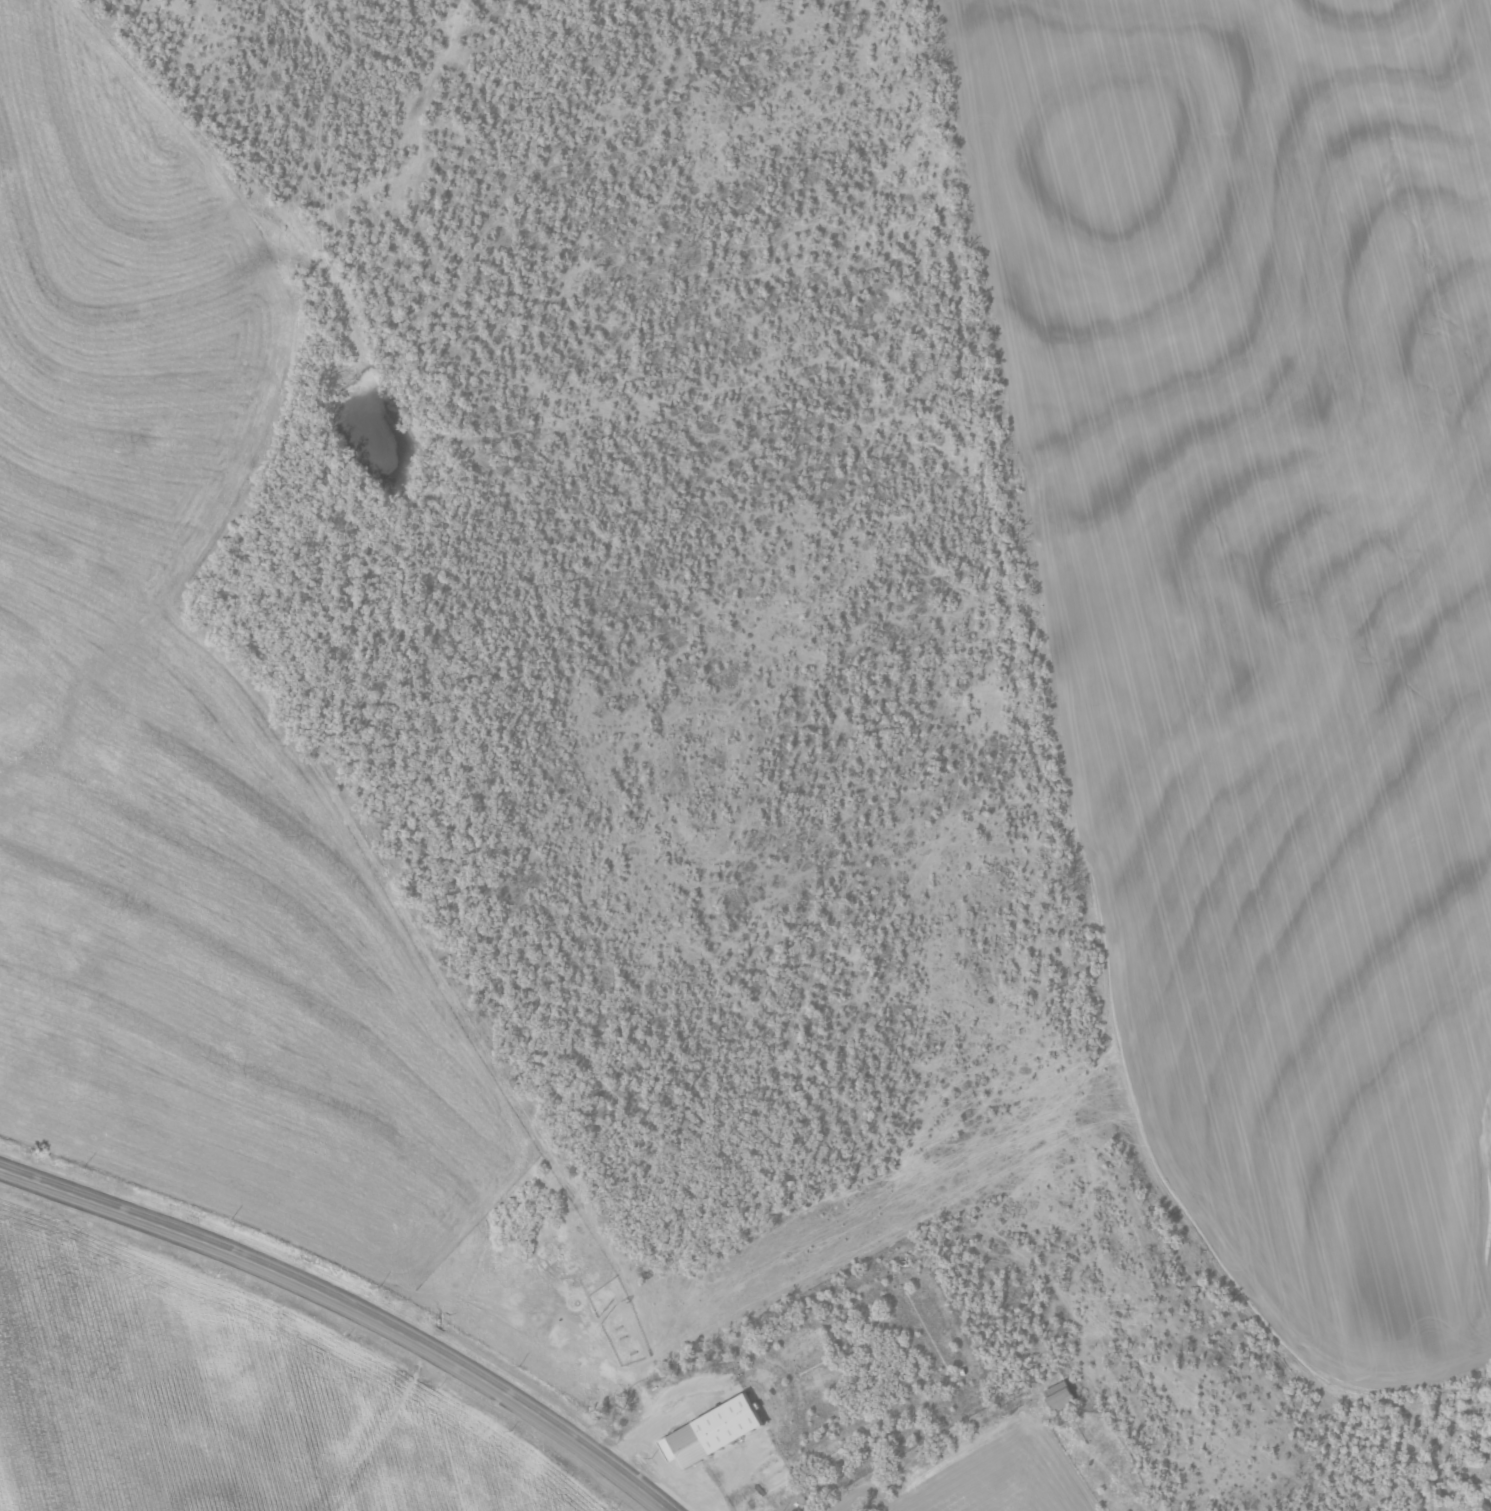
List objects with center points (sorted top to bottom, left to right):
road: (67, 1197)
road: (411, 1339)
building: (1060, 1396)
building: (712, 1431)

